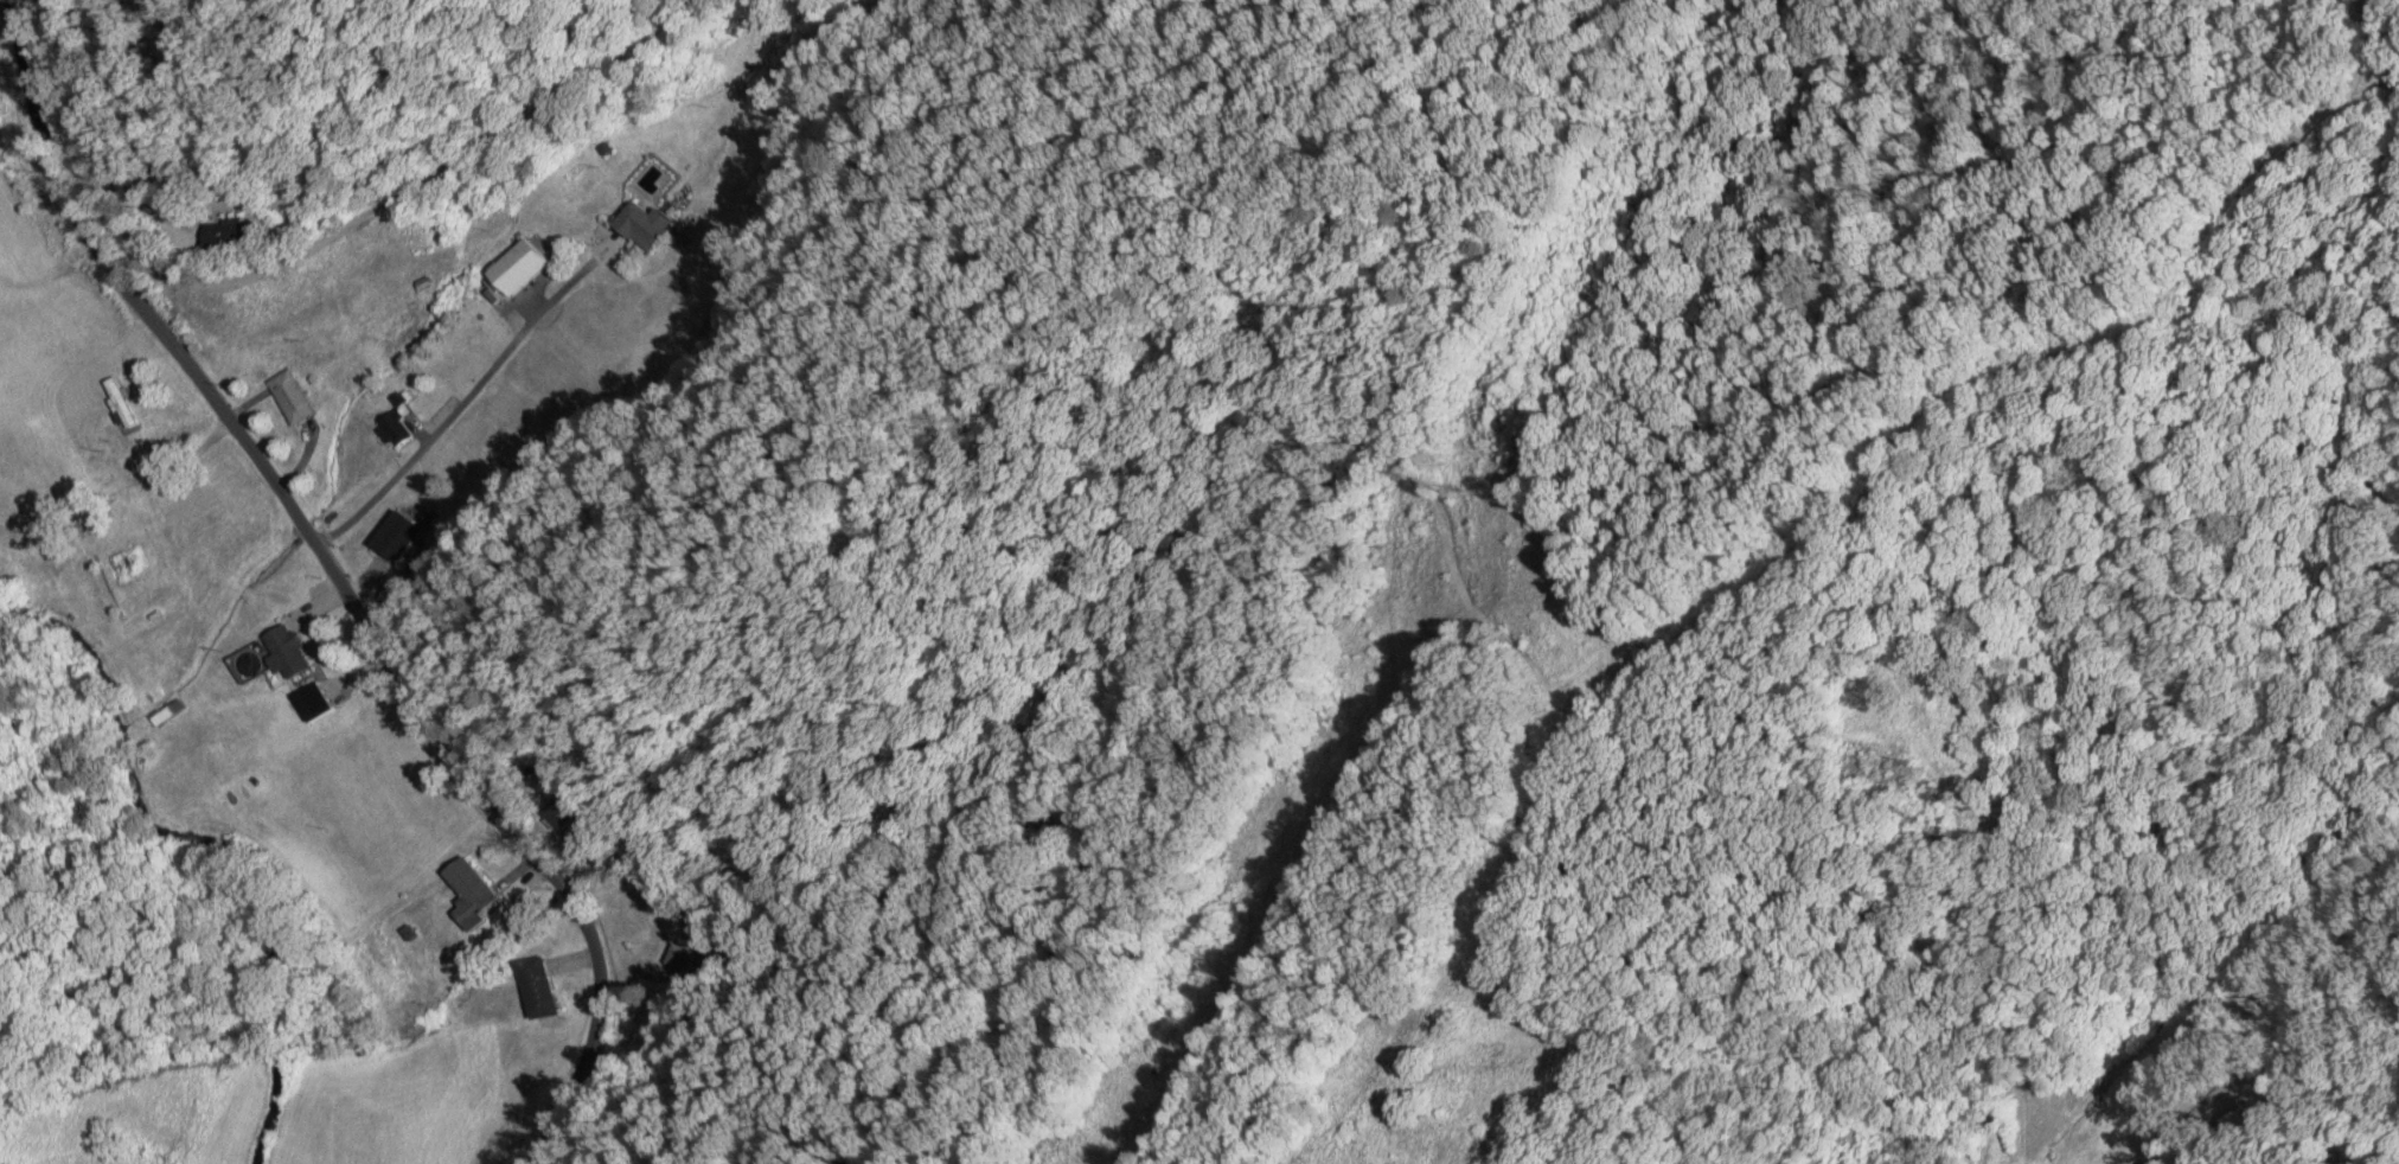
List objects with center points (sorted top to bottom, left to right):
road: (2385, 33)
building: (651, 225)
building: (238, 232)
road: (303, 250)
building: (529, 266)
building: (298, 396)
road: (460, 403)
building: (401, 532)
road: (344, 578)
building: (293, 653)
building: (314, 699)
building: (171, 711)
building: (568, 814)
building: (478, 894)
building: (684, 958)
building: (544, 989)
road: (667, 1112)

